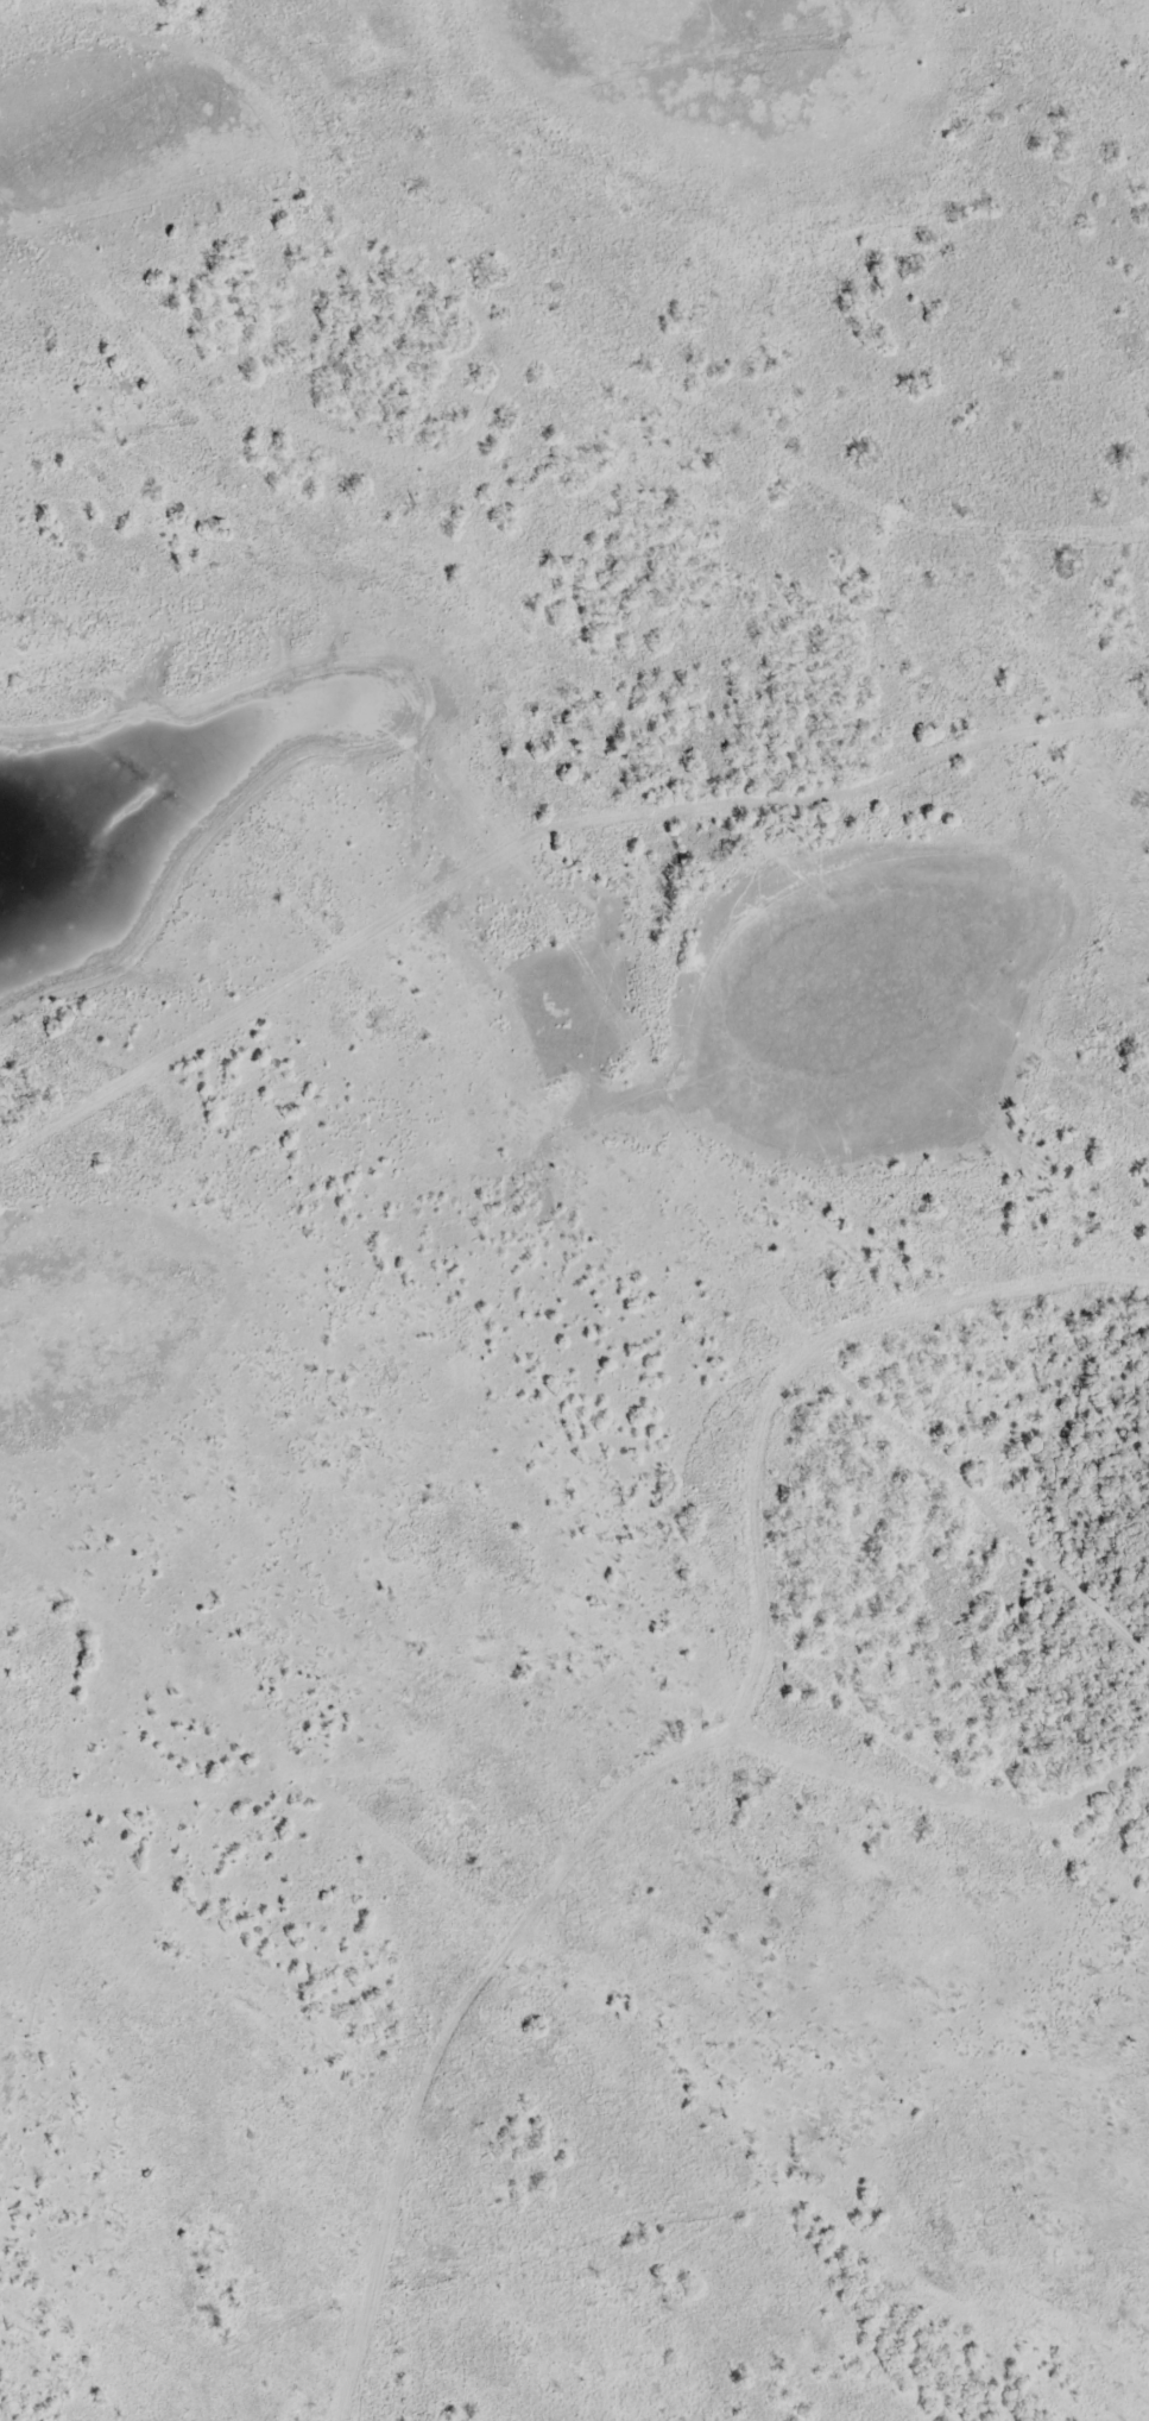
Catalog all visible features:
road: (574, 1750)

